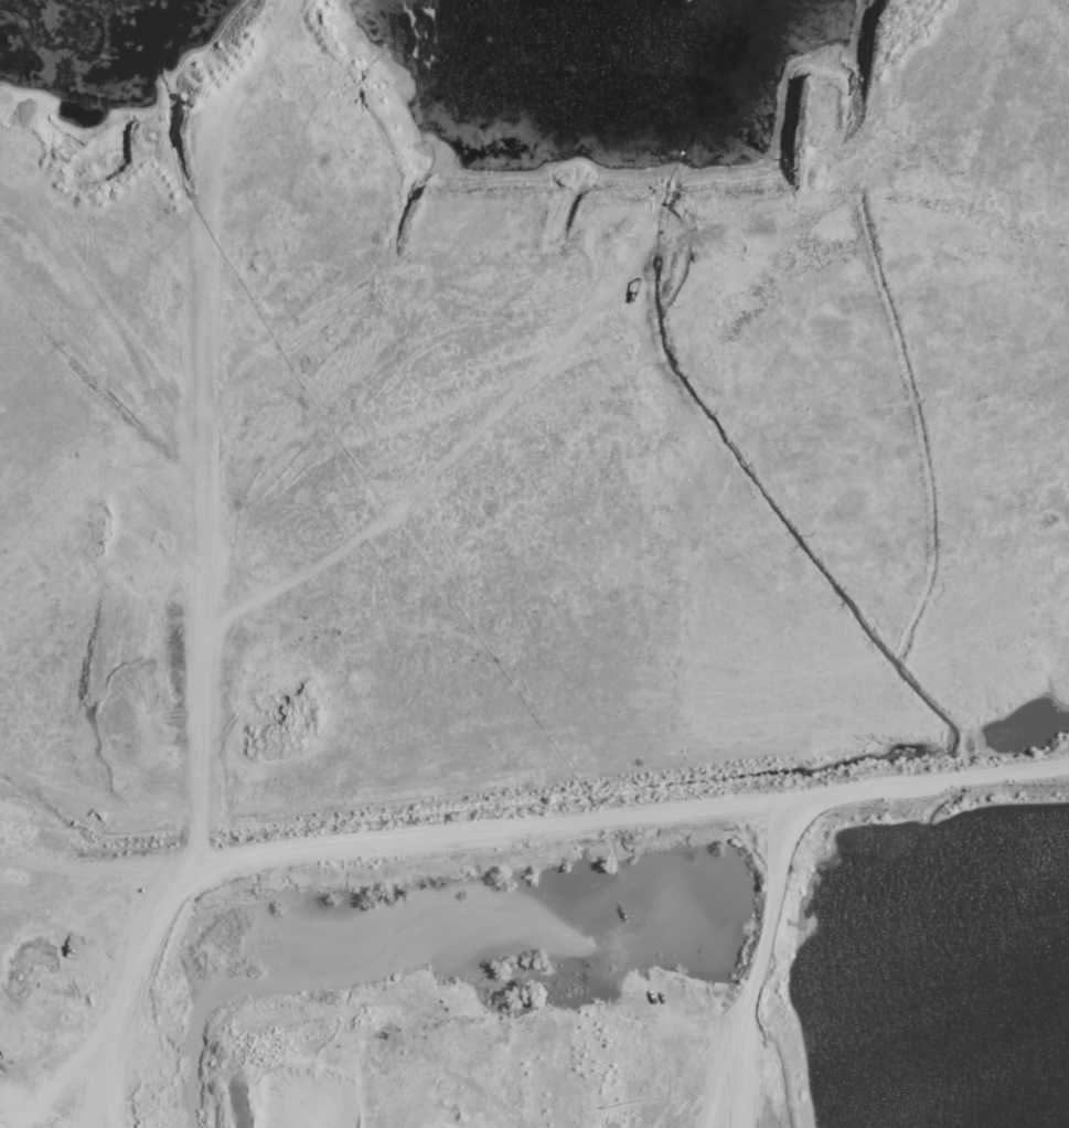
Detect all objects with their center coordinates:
road: (534, 816)

